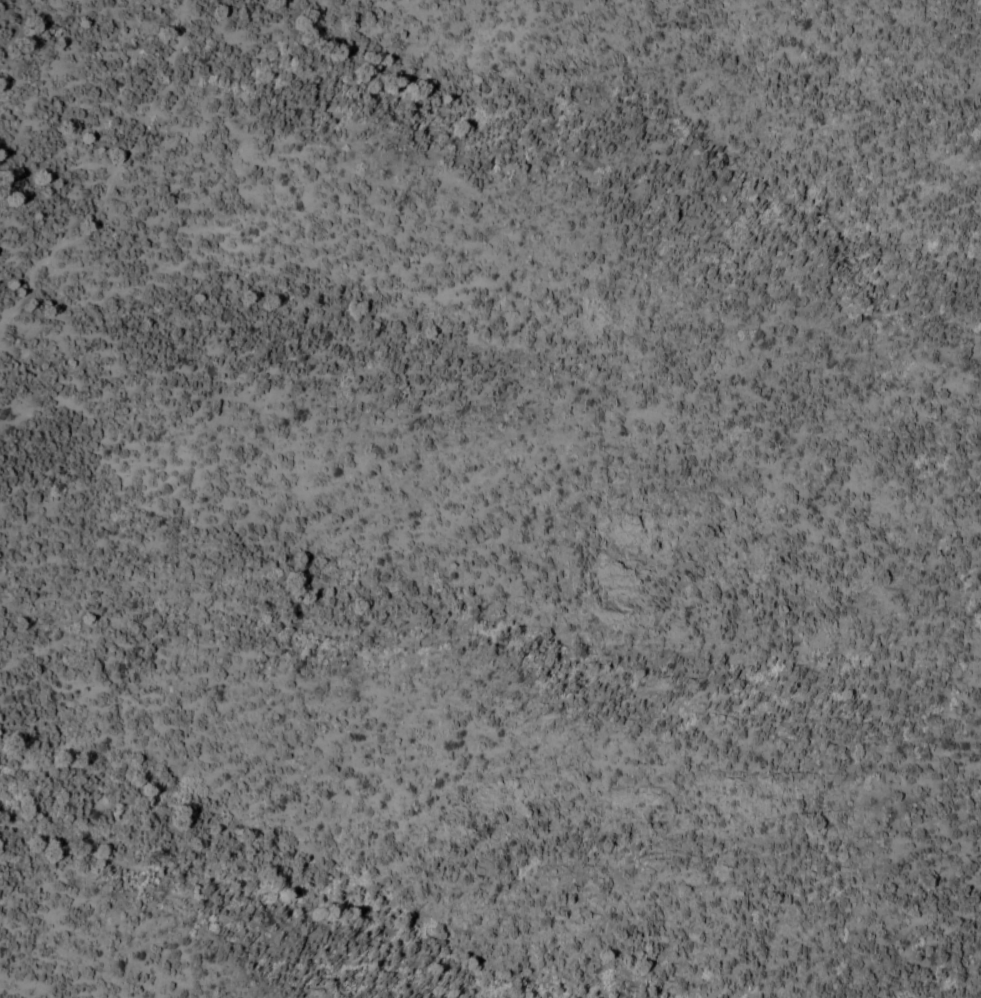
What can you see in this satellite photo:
road: (106, 201)

